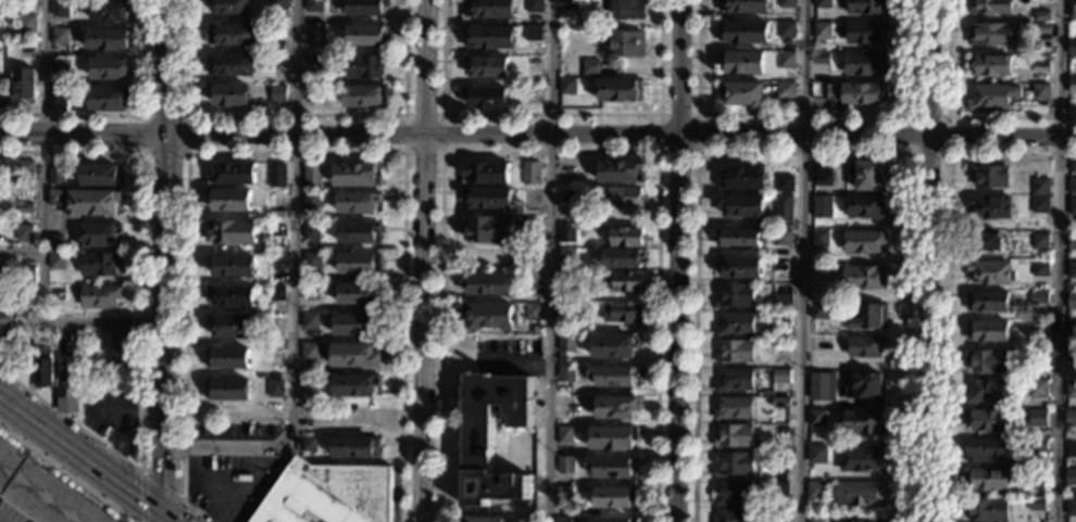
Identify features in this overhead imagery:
building: (786, 3)
building: (822, 3)
building: (278, 4)
building: (314, 5)
building: (534, 5)
building: (745, 7)
building: (865, 7)
building: (230, 8)
building: (366, 8)
building: (990, 8)
building: (60, 9)
building: (489, 9)
building: (110, 10)
building: (623, 10)
building: (1072, 10)
building: (1041, 16)
building: (27, 24)
building: (785, 29)
building: (1041, 29)
building: (821, 30)
building: (589, 33)
building: (742, 33)
building: (864, 33)
building: (534, 34)
building: (232, 35)
building: (991, 35)
building: (316, 36)
building: (366, 36)
building: (60, 37)
building: (489, 38)
building: (108, 39)
building: (625, 44)
building: (1072, 48)
building: (819, 59)
building: (313, 60)
building: (786, 60)
building: (740, 62)
building: (1041, 63)
building: (865, 64)
building: (230, 65)
building: (366, 66)
building: (989, 66)
building: (487, 67)
building: (589, 67)
building: (60, 68)
building: (110, 68)
building: (23, 85)
building: (567, 86)
building: (1072, 86)
building: (785, 90)
building: (621, 91)
building: (1040, 92)
building: (278, 93)
building: (314, 93)
building: (742, 93)
building: (856, 93)
building: (533, 94)
building: (229, 96)
building: (366, 97)
building: (991, 97)
building: (57, 98)
building: (485, 98)
building: (108, 99)
road: (129, 115)
road: (145, 115)
road: (295, 115)
road: (442, 115)
road: (550, 115)
road: (804, 115)
road: (953, 116)
road: (40, 128)
road: (538, 133)
road: (697, 151)
road: (288, 153)
road: (550, 153)
road: (802, 153)
road: (910, 154)
building: (24, 169)
building: (618, 173)
building: (232, 174)
building: (485, 174)
building: (530, 174)
building: (567, 174)
building: (822, 174)
building: (355, 175)
building: (865, 175)
building: (100, 176)
building: (277, 176)
building: (988, 176)
building: (57, 177)
building: (313, 177)
building: (742, 178)
building: (21, 183)
building: (784, 183)
building: (1039, 187)
building: (1072, 188)
building: (57, 198)
building: (625, 198)
building: (489, 199)
building: (229, 200)
building: (312, 200)
building: (358, 202)
building: (92, 203)
building: (1039, 204)
building: (822, 205)
building: (741, 206)
building: (1072, 206)
building: (783, 207)
building: (865, 207)
building: (990, 207)
building: (25, 208)
building: (531, 226)
building: (489, 229)
building: (277, 230)
building: (311, 231)
building: (232, 232)
building: (27, 233)
building: (360, 233)
building: (567, 234)
building: (99, 235)
building: (626, 237)
building: (783, 238)
building: (818, 238)
building: (738, 239)
building: (1039, 241)
building: (865, 242)
building: (986, 242)
building: (1072, 242)
building: (55, 243)
road: (165, 256)
building: (566, 257)
building: (622, 258)
road: (424, 260)
road: (548, 260)
road: (678, 260)
road: (803, 260)
road: (927, 260)
road: (1059, 260)
building: (57, 262)
building: (311, 262)
building: (100, 264)
building: (360, 264)
building: (233, 267)
building: (739, 267)
building: (781, 268)
building: (1039, 269)
building: (1071, 270)
building: (989, 272)
road: (943, 273)
building: (26, 275)
building: (3, 276)
building: (567, 277)
building: (864, 277)
building: (627, 282)
building: (487, 284)
road: (292, 289)
building: (311, 292)
building: (276, 294)
building: (359, 294)
building: (100, 296)
building: (735, 296)
building: (232, 297)
building: (1037, 297)
building: (987, 302)
building: (1072, 302)
building: (781, 303)
building: (54, 307)
building: (533, 311)
building: (818, 311)
building: (623, 313)
building: (488, 315)
building: (871, 318)
building: (780, 319)
road: (49, 320)
building: (311, 321)
building: (354, 324)
building: (735, 324)
road: (141, 327)
building: (230, 327)
building: (1039, 327)
building: (1071, 327)
building: (987, 331)
building: (4, 334)
building: (118, 343)
building: (566, 343)
building: (614, 346)
building: (866, 346)
building: (734, 352)
building: (311, 353)
building: (275, 356)
building: (356, 356)
building: (1071, 356)
building: (227, 358)
building: (1037, 359)
building: (987, 361)
building: (43, 368)
building: (112, 368)
building: (565, 373)
building: (613, 375)
building: (779, 377)
building: (734, 380)
building: (310, 383)
building: (354, 385)
building: (865, 386)
building: (819, 387)
building: (1024, 387)
building: (275, 389)
building: (1037, 389)
building: (1071, 390)
building: (227, 391)
building: (67, 392)
building: (984, 392)
building: (780, 403)
building: (564, 406)
building: (615, 407)
building: (734, 408)
building: (310, 412)
building: (354, 416)
building: (816, 418)
building: (1036, 418)
building: (1069, 418)
building: (988, 420)
building: (865, 422)
parking lot: (234, 431)
building: (564, 434)
building: (734, 436)
building: (612, 438)
building: (309, 444)
building: (1038, 445)
building: (355, 448)
building: (476, 448)
building: (1071, 449)
building: (985, 450)
building: (816, 454)
road: (87, 458)
building: (861, 459)
building: (779, 460)
building: (734, 464)
building: (564, 466)
building: (611, 467)
road: (65, 474)
building: (1037, 475)
road: (149, 476)
building: (1069, 476)
building: (988, 480)
parking lot: (233, 483)
building: (816, 491)
building: (779, 492)
building: (40, 493)
building: (733, 493)
building: (328, 494)
building: (563, 494)
building: (861, 494)
building: (614, 498)
building: (1036, 504)
building: (1071, 508)
building: (988, 510)
parking lot: (13, 512)
traffic signals: (161, 512)
building: (733, 515)
building: (779, 515)
road: (161, 517)
building: (480, 520)
building: (563, 520)
building: (612, 520)
building: (817, 521)
building: (861, 521)

